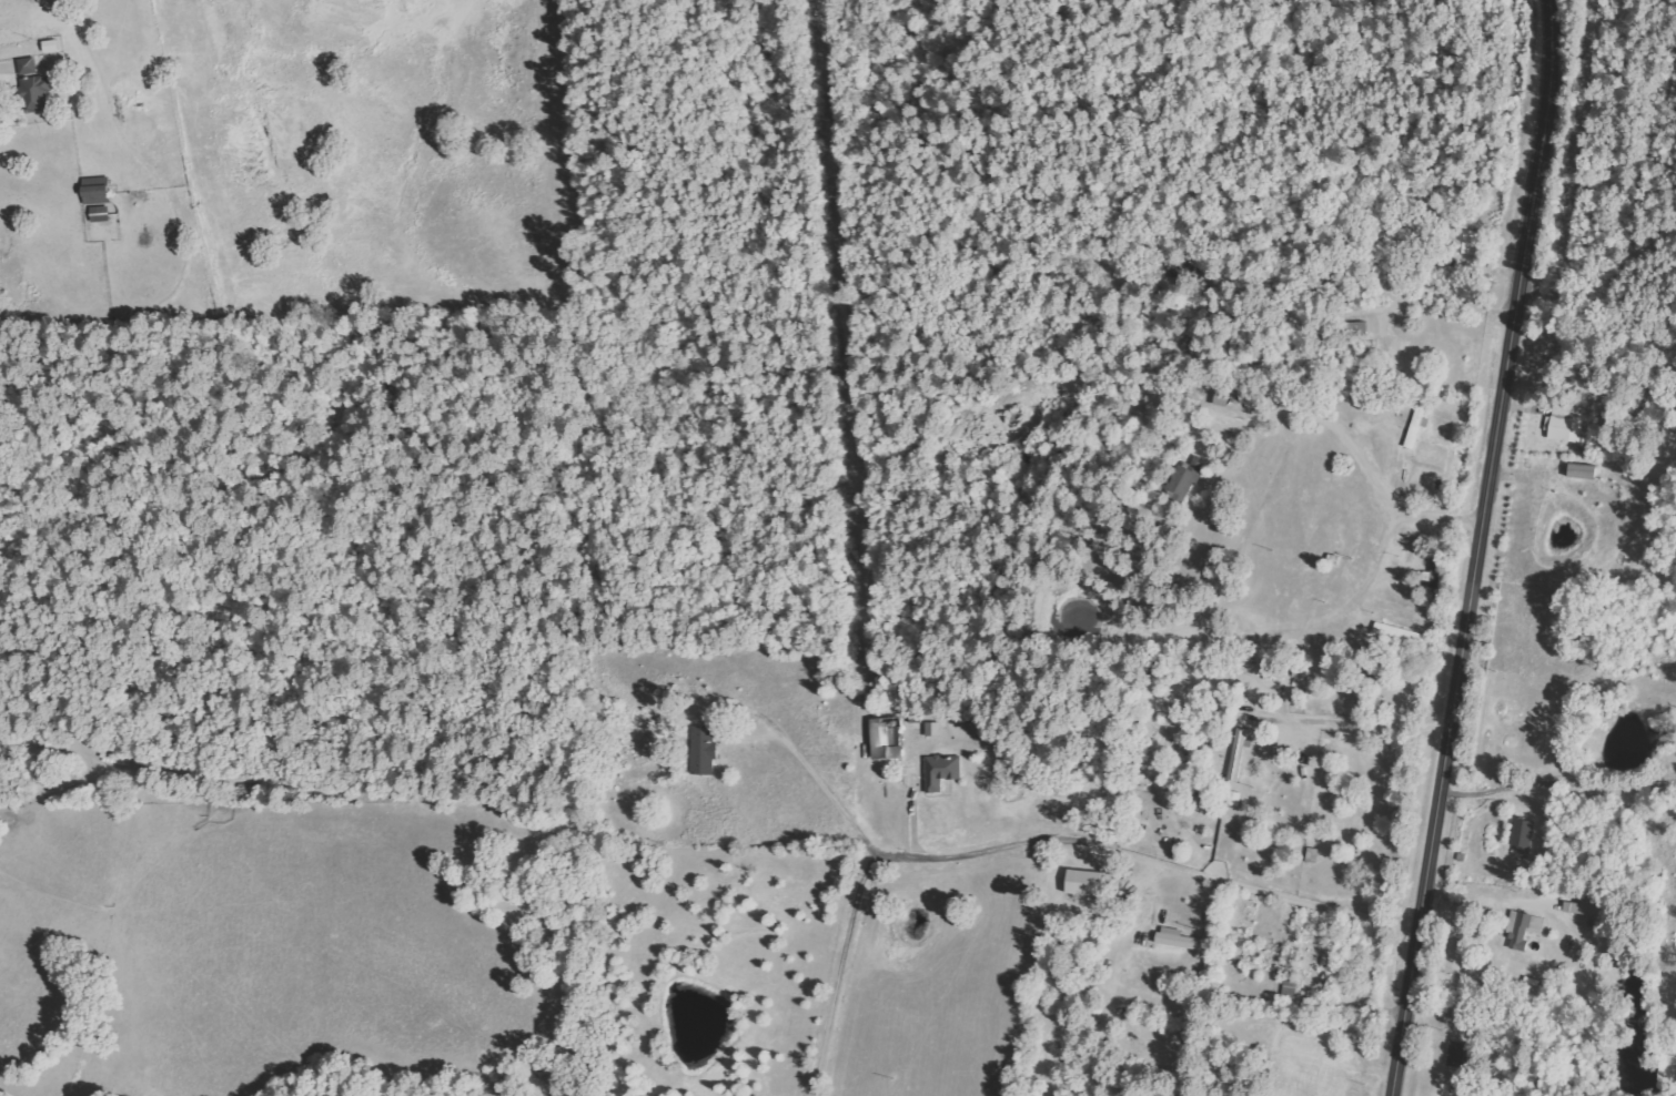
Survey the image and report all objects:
building: (32, 87)
building: (97, 191)
building: (100, 214)
building: (1463, 241)
building: (1357, 328)
building: (1229, 393)
building: (1565, 423)
building: (1583, 470)
building: (1187, 476)
road: (1477, 548)
building: (1400, 632)
building: (932, 729)
building: (887, 738)
building: (704, 750)
building: (1239, 754)
building: (110, 760)
building: (942, 771)
building: (1234, 799)
building: (1523, 836)
building: (1084, 882)
building: (1524, 930)
building: (1291, 958)
building: (1290, 986)
building: (1458, 1055)

